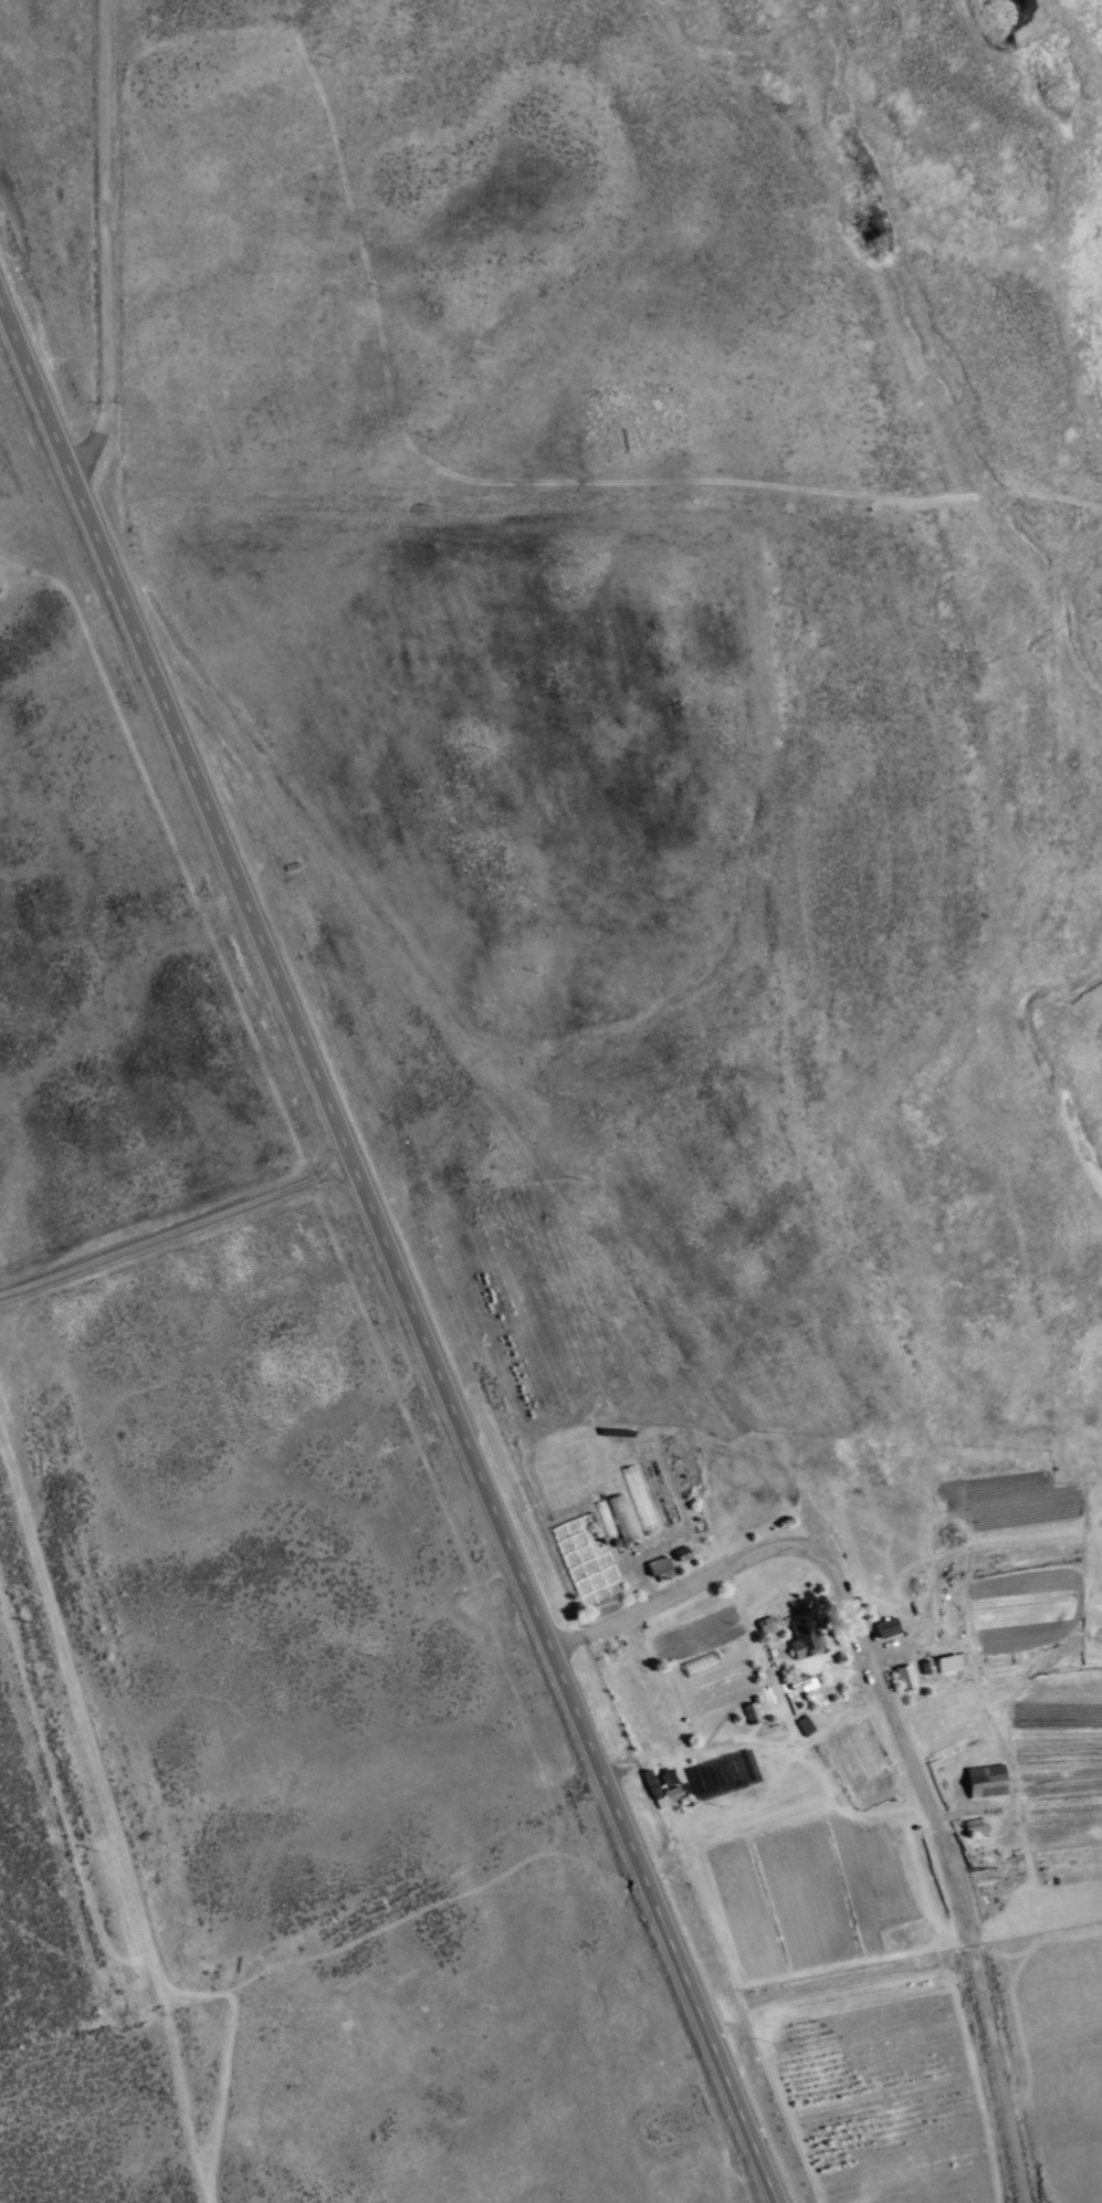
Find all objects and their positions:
road: (101, 254)
crop: (671, 339)
road: (380, 1271)
building: (620, 1518)
building: (659, 1569)
crop: (243, 1604)
building: (766, 1625)
building: (804, 1636)
building: (948, 1661)
building: (904, 1677)
building: (798, 1681)
building: (985, 1780)
building: (664, 1795)
building: (975, 1825)

